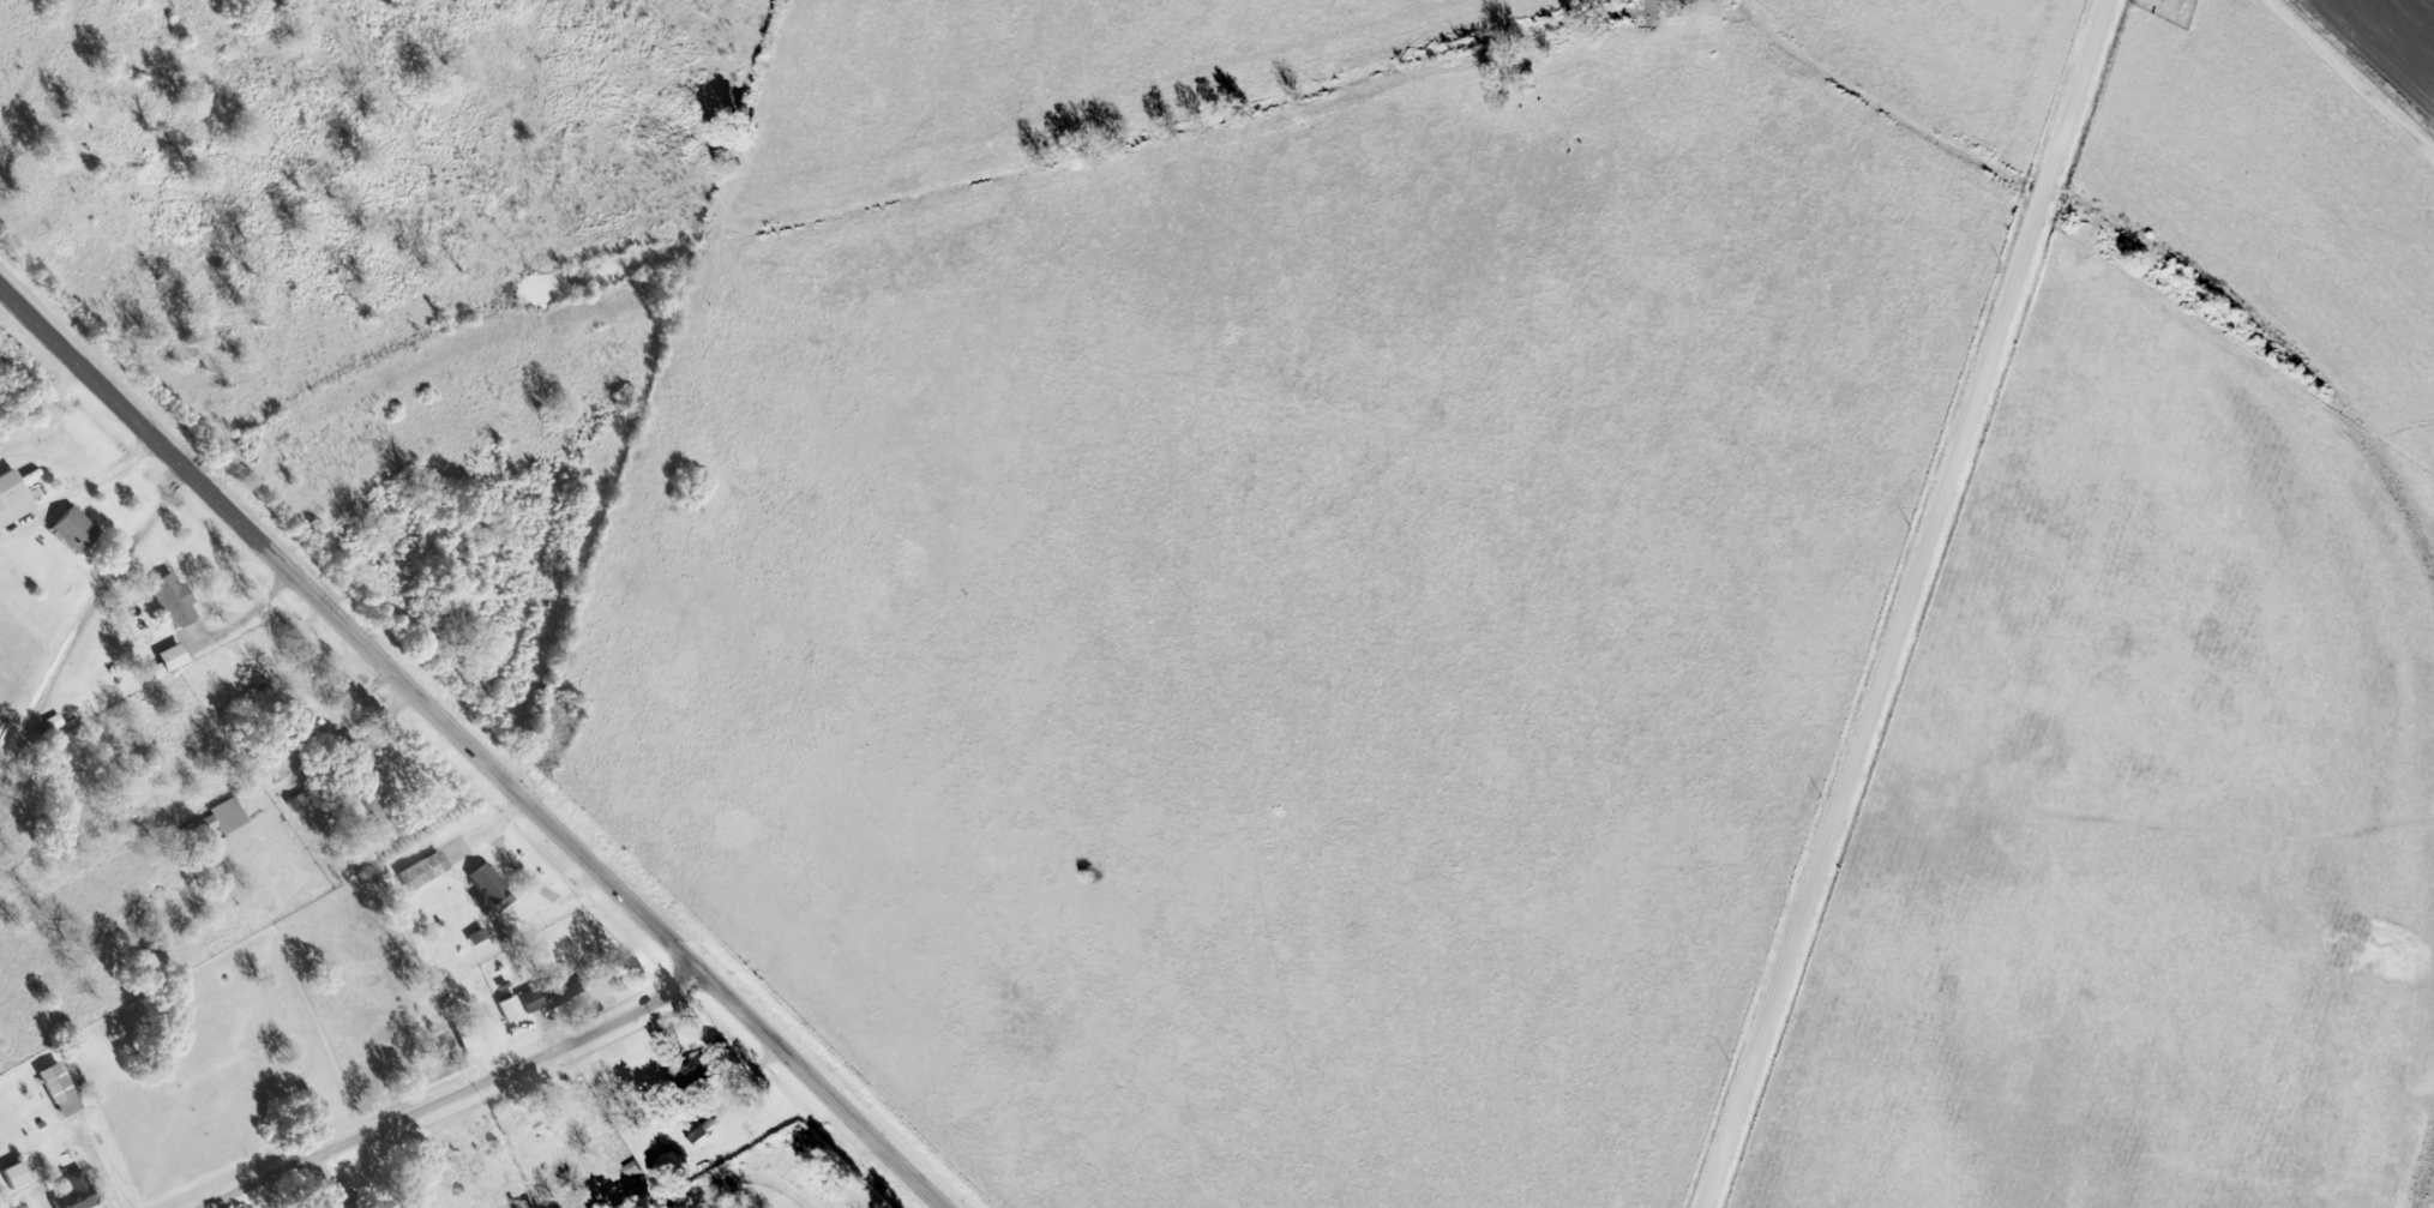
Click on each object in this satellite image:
road: (2350, 82)
road: (41, 462)
road: (118, 463)
building: (17, 499)
road: (40, 512)
building: (82, 531)
building: (181, 603)
road: (1915, 603)
road: (188, 611)
road: (232, 621)
building: (180, 659)
road: (311, 680)
building: (59, 722)
road: (470, 749)
road: (332, 761)
building: (228, 818)
road: (507, 821)
building: (429, 872)
building: (494, 889)
building: (540, 999)
building: (516, 1009)
road: (554, 1038)
building: (475, 1041)
road: (744, 1083)
building: (67, 1090)
road: (461, 1094)
road: (98, 1164)
road: (336, 1183)
building: (79, 1198)

